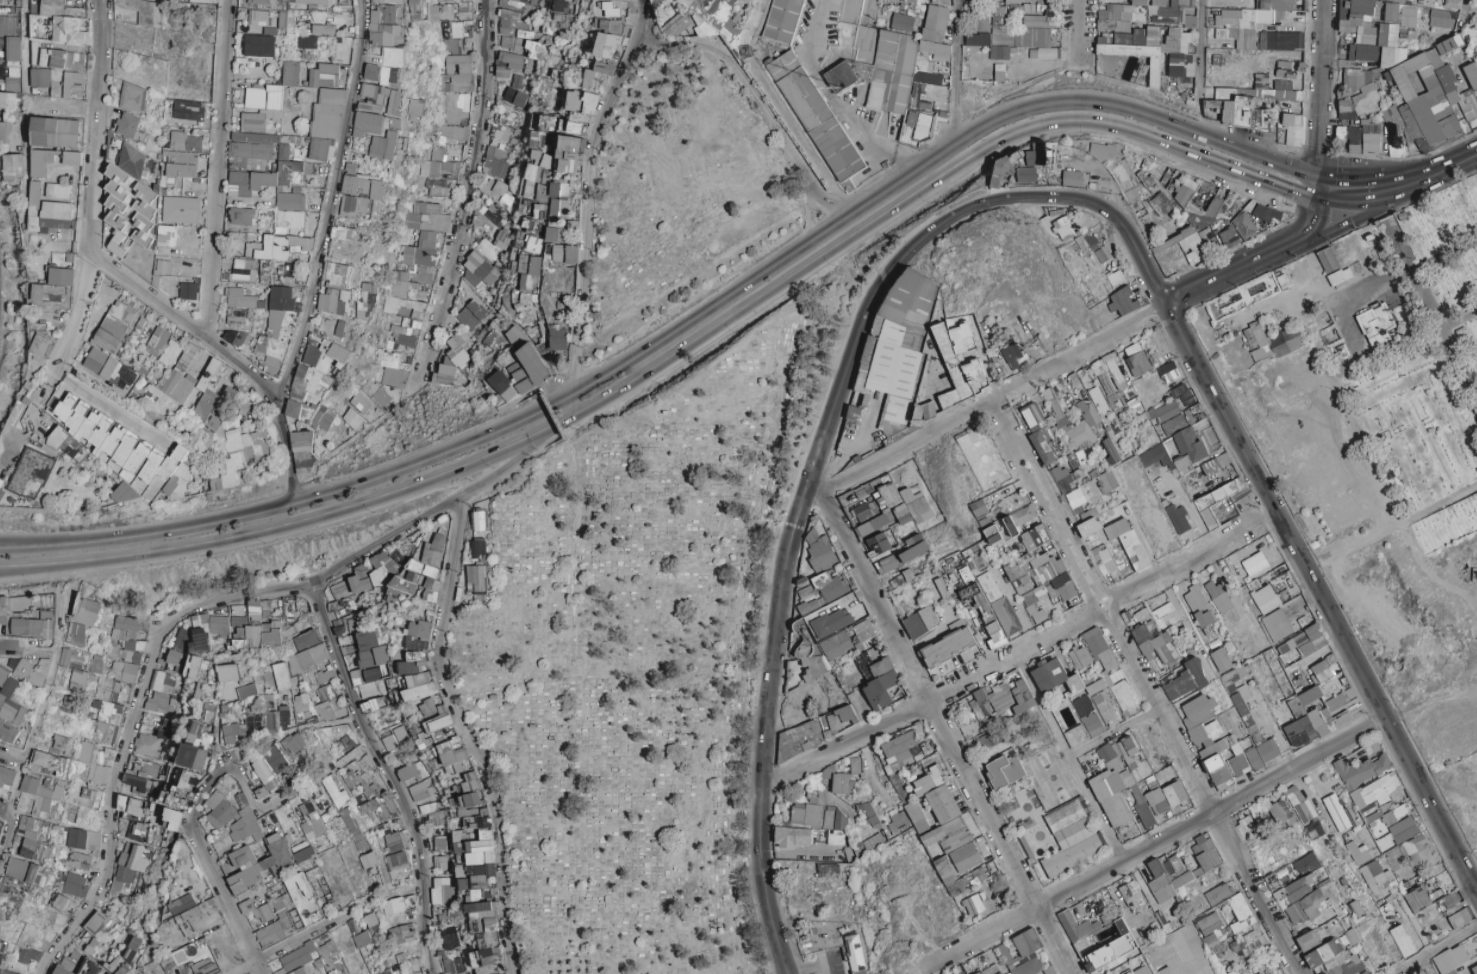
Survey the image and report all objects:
road: (1072, 31)
park: (1430, 372)
park: (648, 549)

